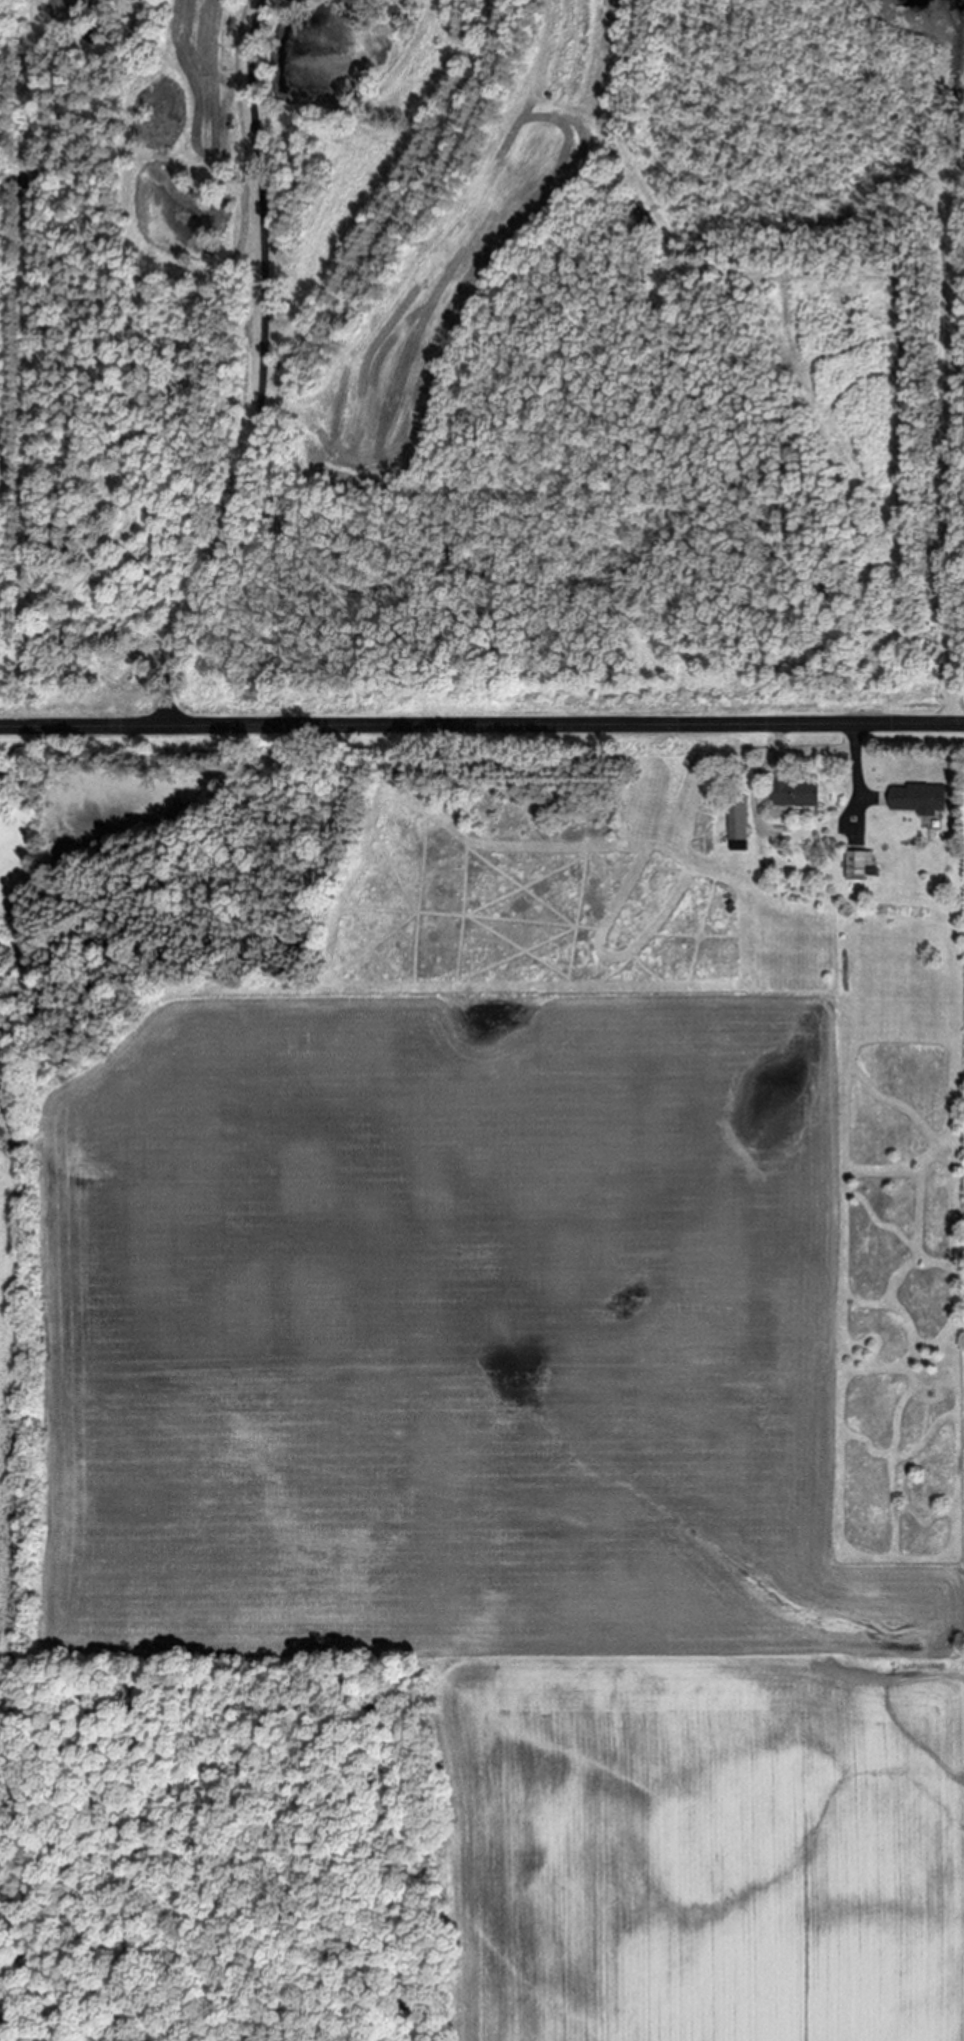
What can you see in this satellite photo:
road: (258, 370)
road: (947, 424)
road: (6, 464)
road: (481, 725)
road: (857, 776)
building: (918, 800)
building: (738, 824)
building: (857, 865)

